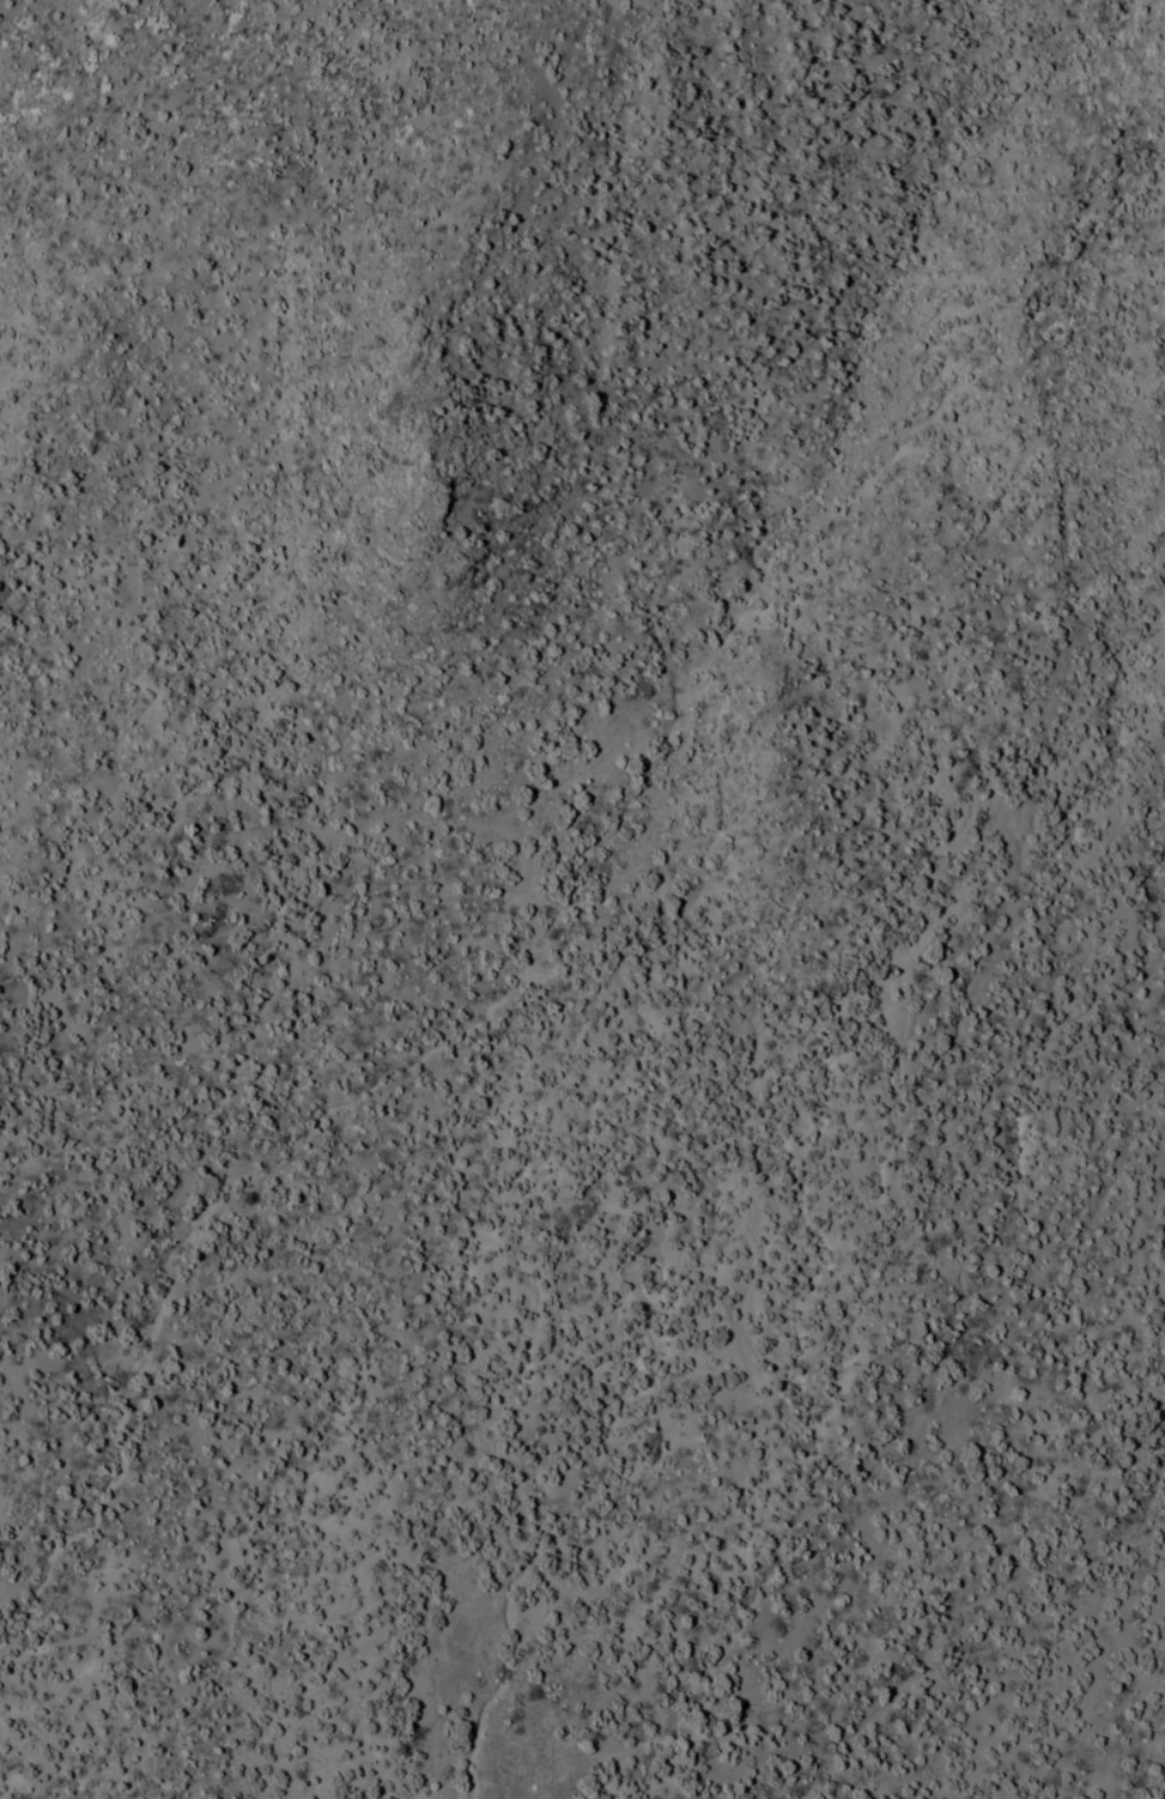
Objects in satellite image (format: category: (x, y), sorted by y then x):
road: (72, 1183)

